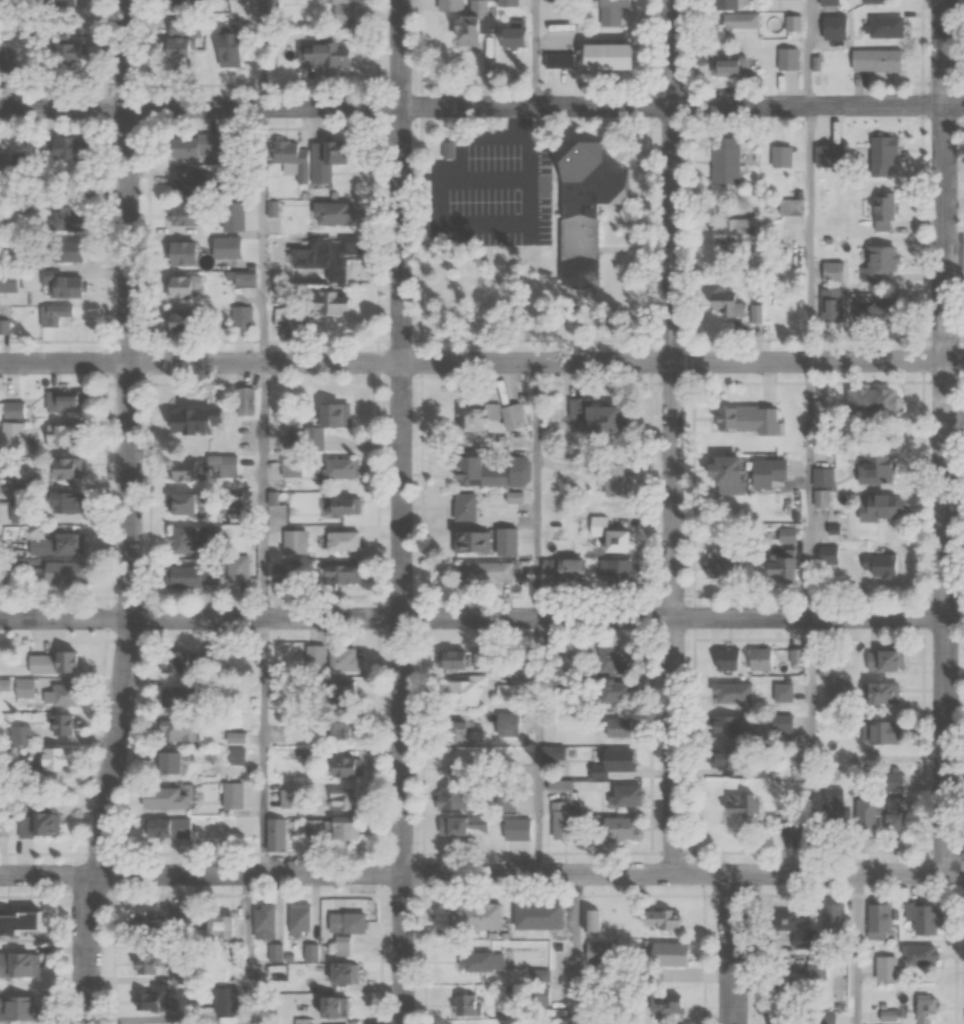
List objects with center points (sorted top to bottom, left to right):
building: (873, 0)
building: (827, 1)
building: (505, 3)
building: (728, 4)
building: (343, 11)
building: (609, 11)
building: (737, 21)
building: (791, 22)
building: (832, 26)
building: (882, 26)
building: (461, 31)
building: (503, 33)
building: (226, 45)
building: (174, 49)
building: (60, 51)
road: (262, 53)
road: (535, 53)
road: (810, 53)
building: (323, 55)
building: (601, 56)
building: (786, 59)
building: (6, 60)
building: (558, 60)
building: (874, 60)
building: (723, 66)
road: (64, 106)
road: (546, 107)
building: (188, 146)
building: (59, 147)
building: (440, 154)
building: (779, 156)
building: (882, 156)
building: (309, 159)
building: (722, 161)
building: (187, 181)
parking lot: (486, 192)
building: (582, 203)
building: (790, 207)
building: (884, 212)
building: (331, 213)
building: (186, 219)
building: (730, 231)
road: (811, 233)
road: (263, 234)
building: (59, 251)
building: (176, 253)
building: (324, 257)
building: (878, 261)
building: (832, 271)
building: (57, 284)
building: (177, 286)
building: (328, 303)
building: (830, 305)
building: (725, 307)
building: (878, 308)
building: (47, 315)
building: (241, 316)
building: (290, 317)
building: (178, 321)
road: (64, 361)
road: (546, 362)
building: (62, 399)
building: (244, 401)
building: (870, 403)
building: (11, 410)
building: (330, 415)
building: (589, 417)
building: (488, 419)
building: (191, 420)
building: (745, 421)
building: (12, 435)
building: (62, 436)
road: (674, 436)
road: (947, 436)
building: (338, 468)
building: (779, 468)
building: (874, 468)
building: (60, 469)
building: (184, 470)
building: (726, 470)
building: (489, 471)
building: (821, 477)
building: (612, 478)
road: (264, 489)
road: (538, 489)
road: (811, 489)
building: (224, 501)
building: (61, 503)
building: (177, 503)
building: (462, 506)
building: (338, 507)
building: (873, 507)
road: (401, 512)
road: (129, 513)
building: (606, 535)
building: (785, 535)
building: (187, 539)
building: (473, 540)
building: (339, 541)
building: (294, 542)
building: (49, 544)
building: (825, 554)
building: (236, 568)
building: (614, 568)
building: (720, 568)
building: (777, 568)
building: (877, 570)
building: (55, 572)
building: (484, 572)
building: (338, 574)
building: (188, 575)
road: (65, 617)
road: (546, 617)
building: (795, 656)
building: (341, 659)
building: (614, 659)
building: (726, 659)
building: (757, 659)
building: (315, 660)
building: (879, 660)
building: (167, 662)
building: (51, 663)
building: (21, 687)
building: (504, 689)
building: (613, 690)
building: (839, 690)
building: (461, 691)
building: (782, 691)
building: (339, 693)
building: (880, 693)
building: (730, 694)
building: (65, 695)
building: (172, 697)
building: (548, 718)
building: (61, 723)
building: (729, 726)
building: (784, 726)
building: (617, 727)
building: (339, 729)
building: (451, 732)
building: (879, 732)
road: (540, 745)
road: (264, 746)
road: (811, 746)
building: (552, 754)
building: (722, 757)
building: (52, 759)
building: (614, 759)
building: (162, 762)
building: (340, 767)
building: (561, 785)
building: (626, 795)
building: (159, 798)
building: (340, 798)
building: (448, 799)
building: (503, 802)
building: (748, 805)
building: (832, 806)
building: (875, 809)
building: (561, 822)
building: (33, 824)
building: (462, 825)
building: (788, 825)
building: (312, 827)
building: (165, 828)
building: (341, 829)
building: (516, 829)
building: (617, 829)
building: (276, 835)
road: (530, 874)
road: (48, 875)
building: (463, 915)
building: (536, 916)
building: (923, 918)
building: (299, 919)
building: (657, 919)
building: (827, 919)
building: (877, 920)
building: (149, 921)
building: (263, 921)
building: (18, 922)
building: (345, 923)
building: (788, 924)
building: (217, 927)
building: (342, 946)
road: (247, 949)
road: (577, 949)
road: (733, 949)
road: (857, 949)
building: (600, 952)
building: (309, 953)
building: (666, 954)
building: (917, 954)
building: (476, 961)
building: (146, 963)
building: (19, 965)
building: (339, 973)
building: (791, 979)
building: (152, 999)
building: (225, 1001)
building: (467, 1004)
building: (663, 1004)
building: (17, 1008)
building: (329, 1009)
building: (925, 1010)
building: (302, 1021)
building: (791, 1021)

